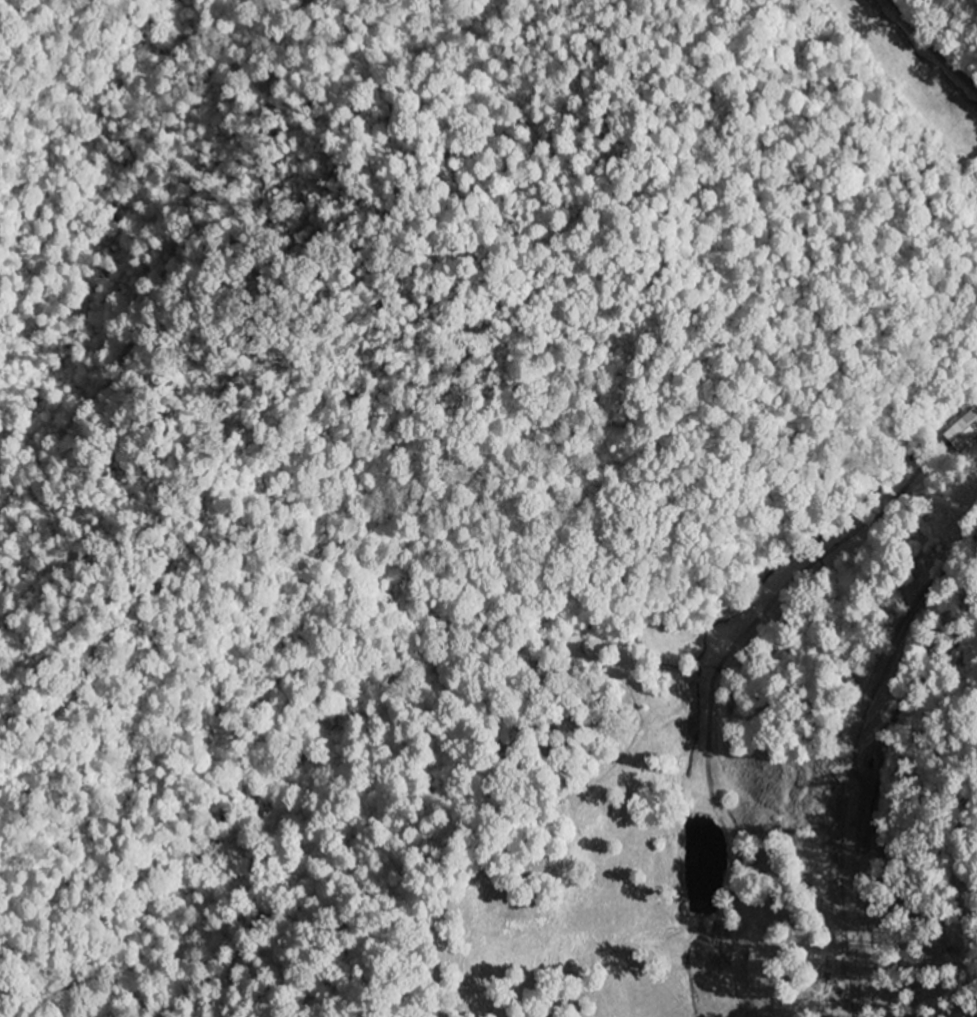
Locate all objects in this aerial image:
road: (930, 45)
road: (847, 756)

